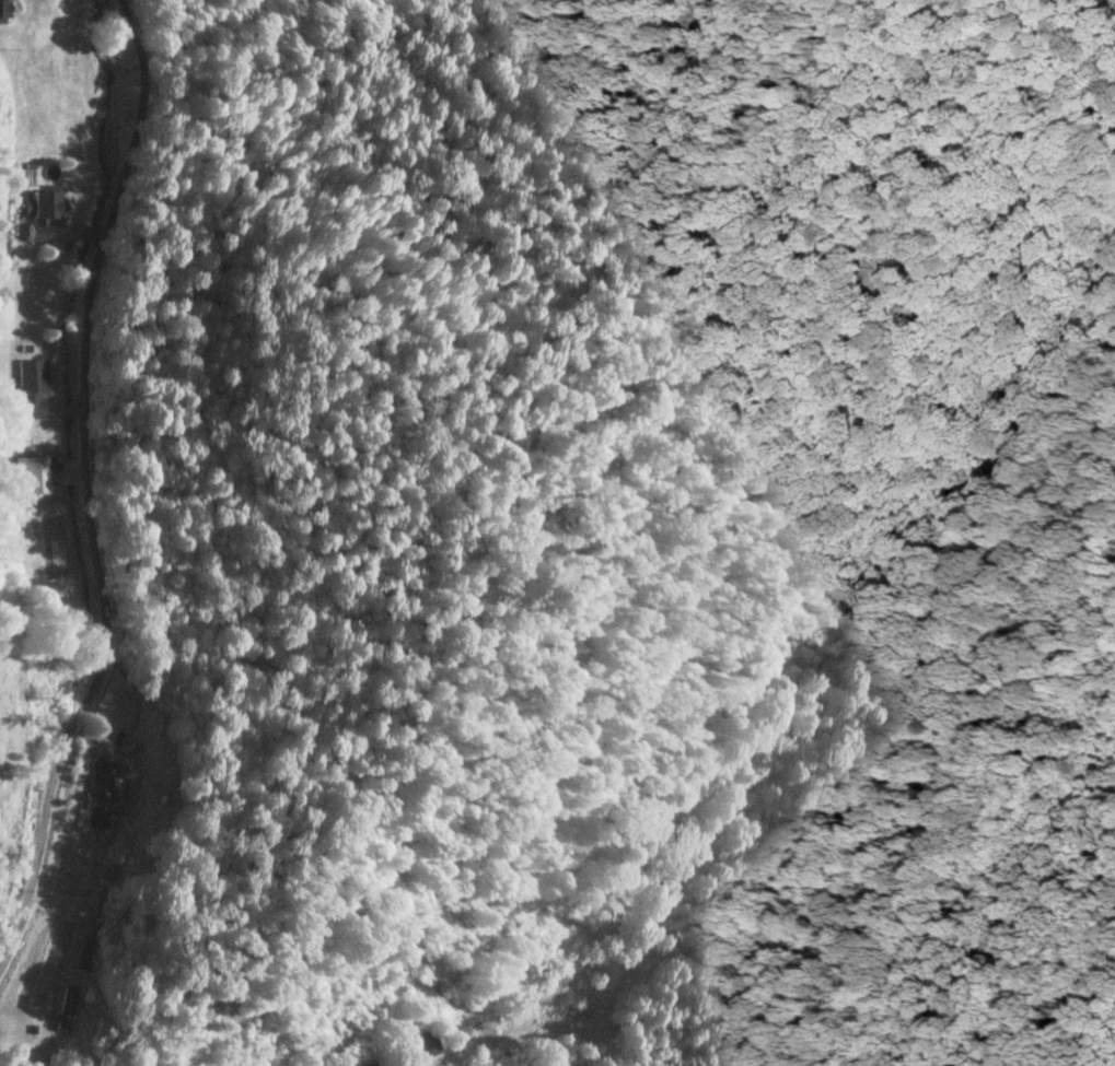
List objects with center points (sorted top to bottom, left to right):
building: (4, 11)
building: (43, 213)
building: (32, 389)
road: (340, 396)
road: (39, 410)
road: (85, 488)
building: (102, 793)
building: (89, 954)
building: (68, 1009)
building: (421, 1047)
road: (461, 1050)

